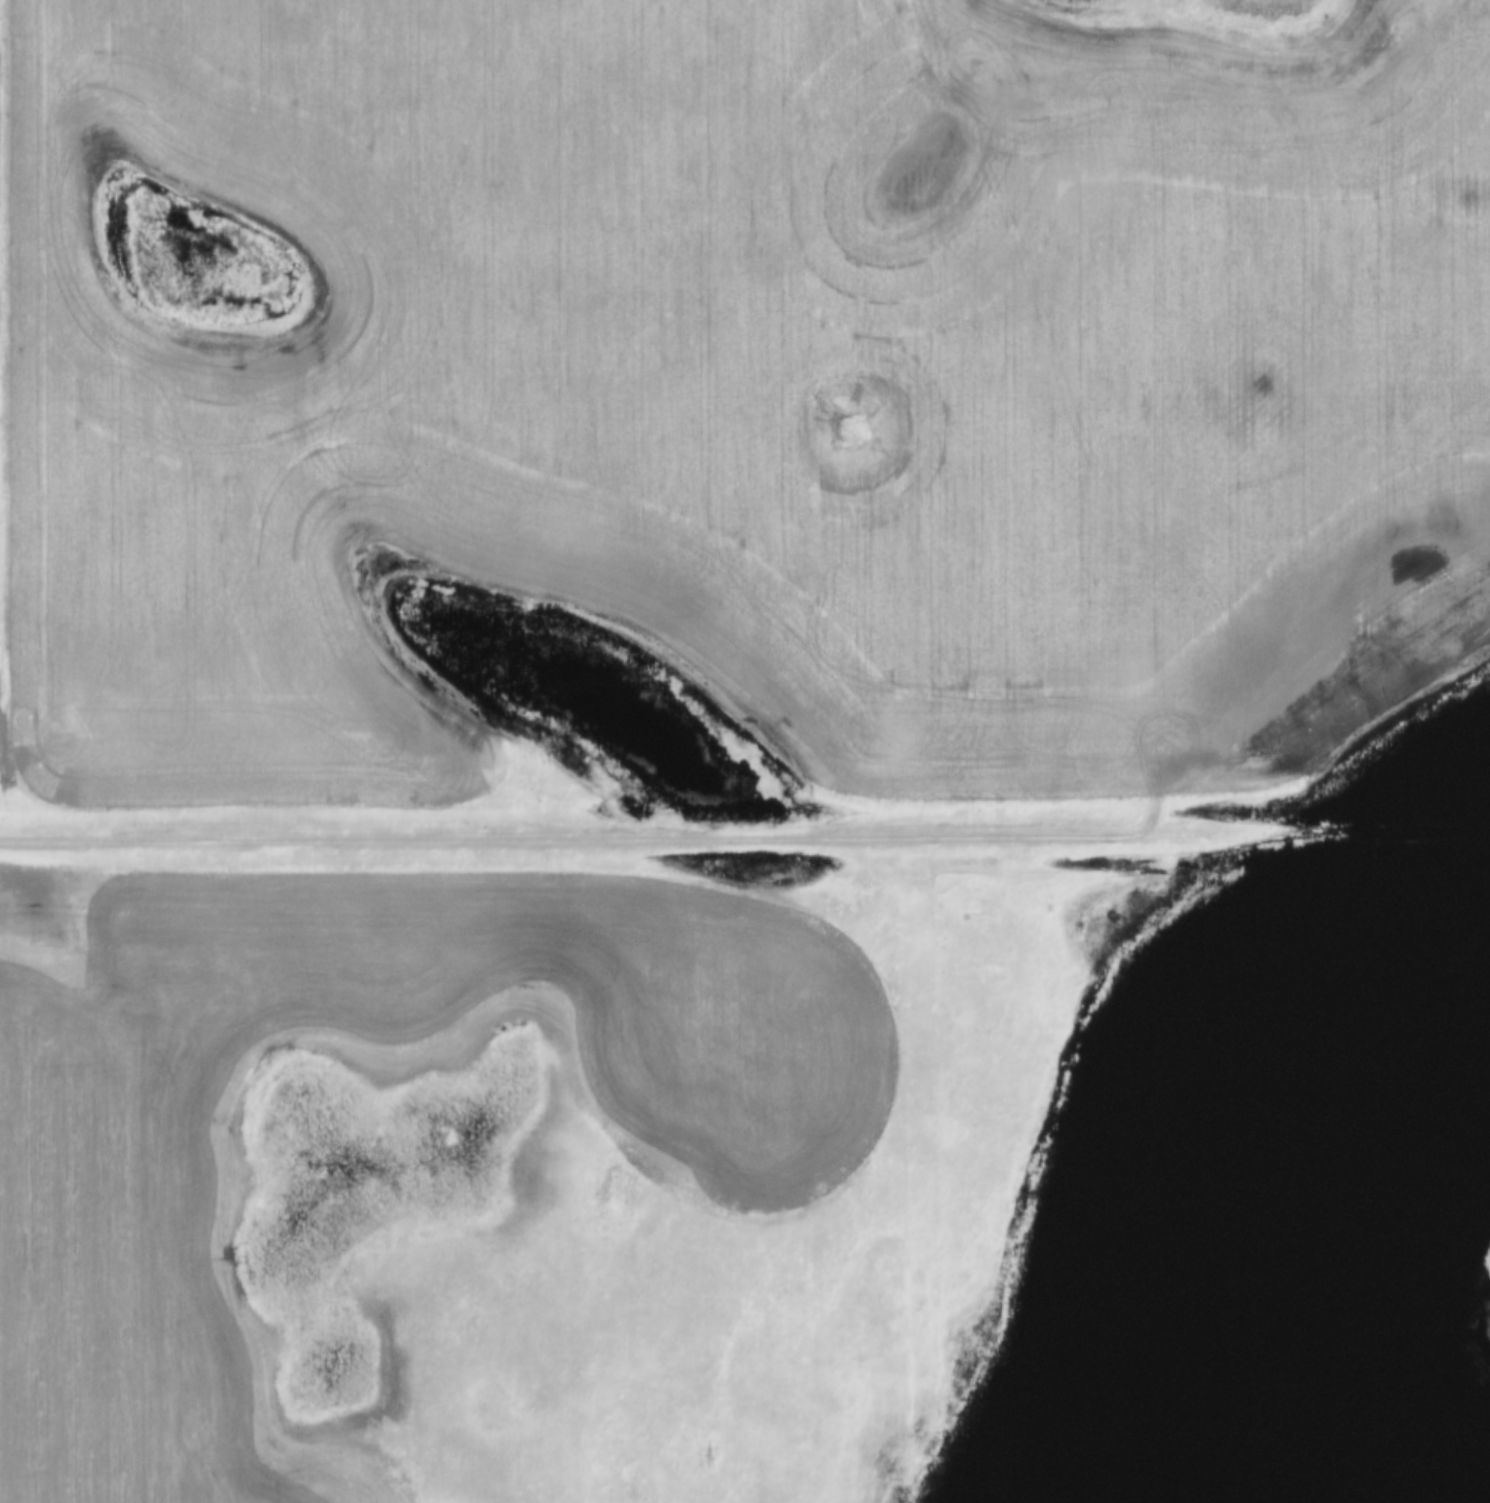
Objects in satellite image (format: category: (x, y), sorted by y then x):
power tower: (854, 428)
road: (744, 841)

